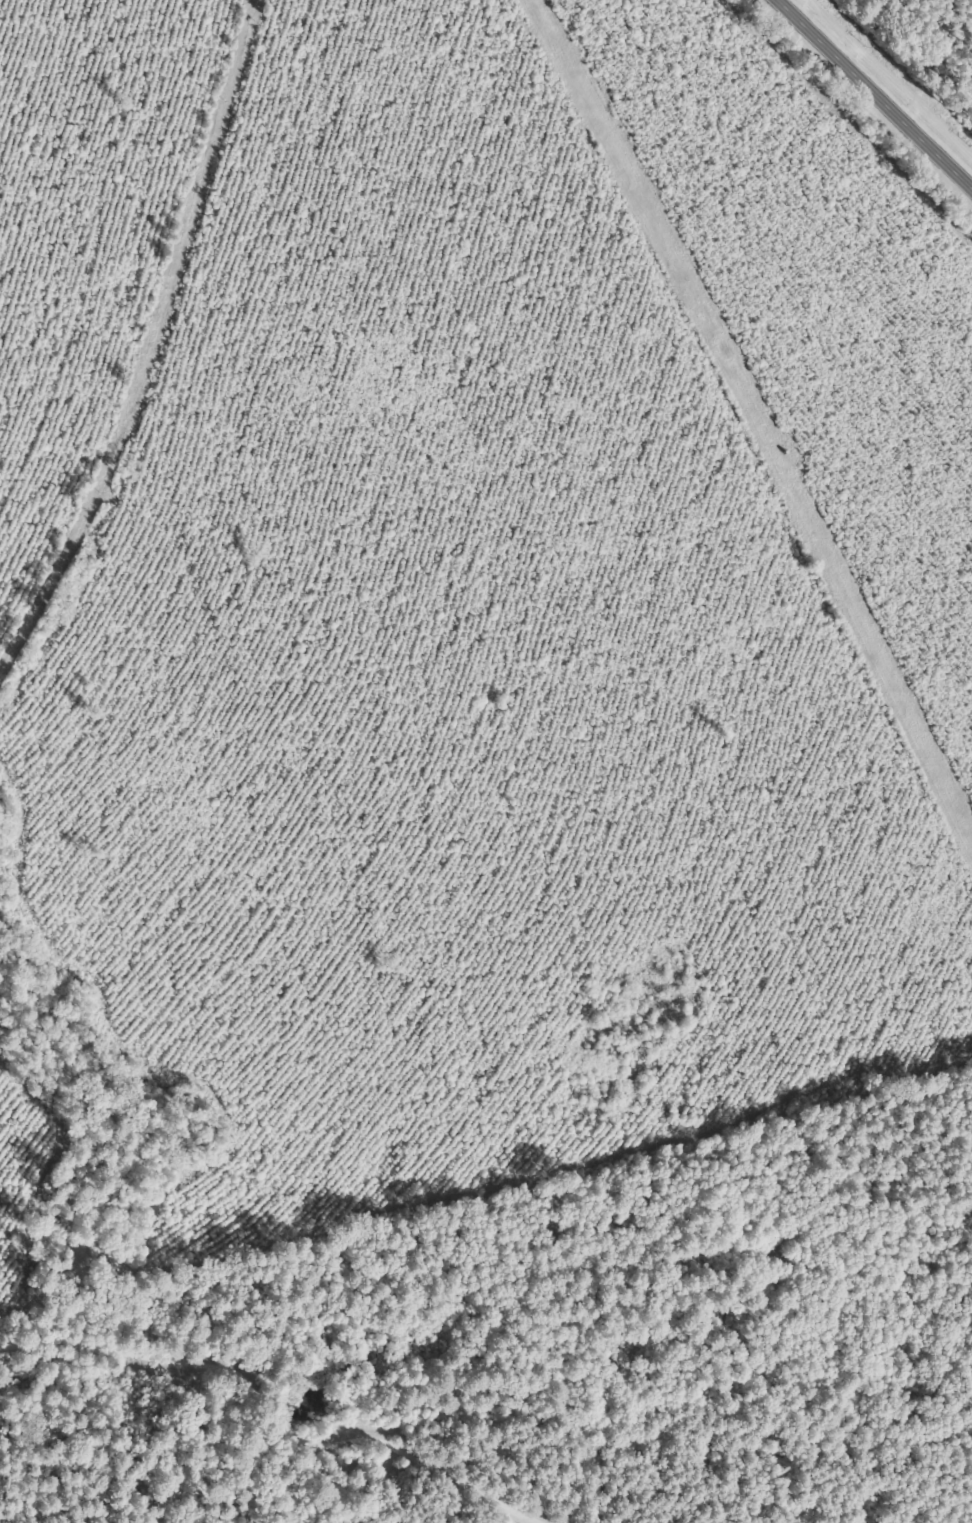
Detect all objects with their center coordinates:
railway: (892, 77)
road: (874, 94)
road: (144, 1380)

